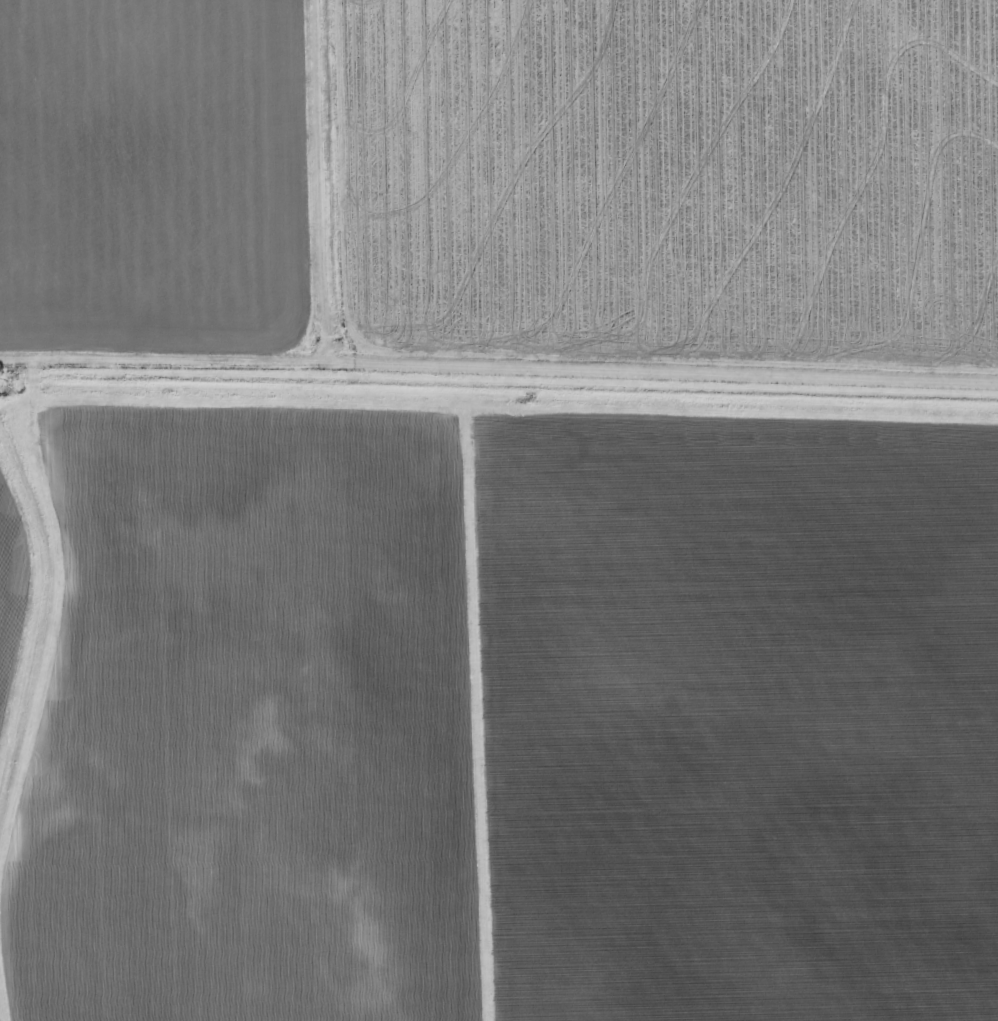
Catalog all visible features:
road: (326, 182)
road: (499, 367)
road: (273, 406)
road: (483, 714)
road: (2, 1004)

